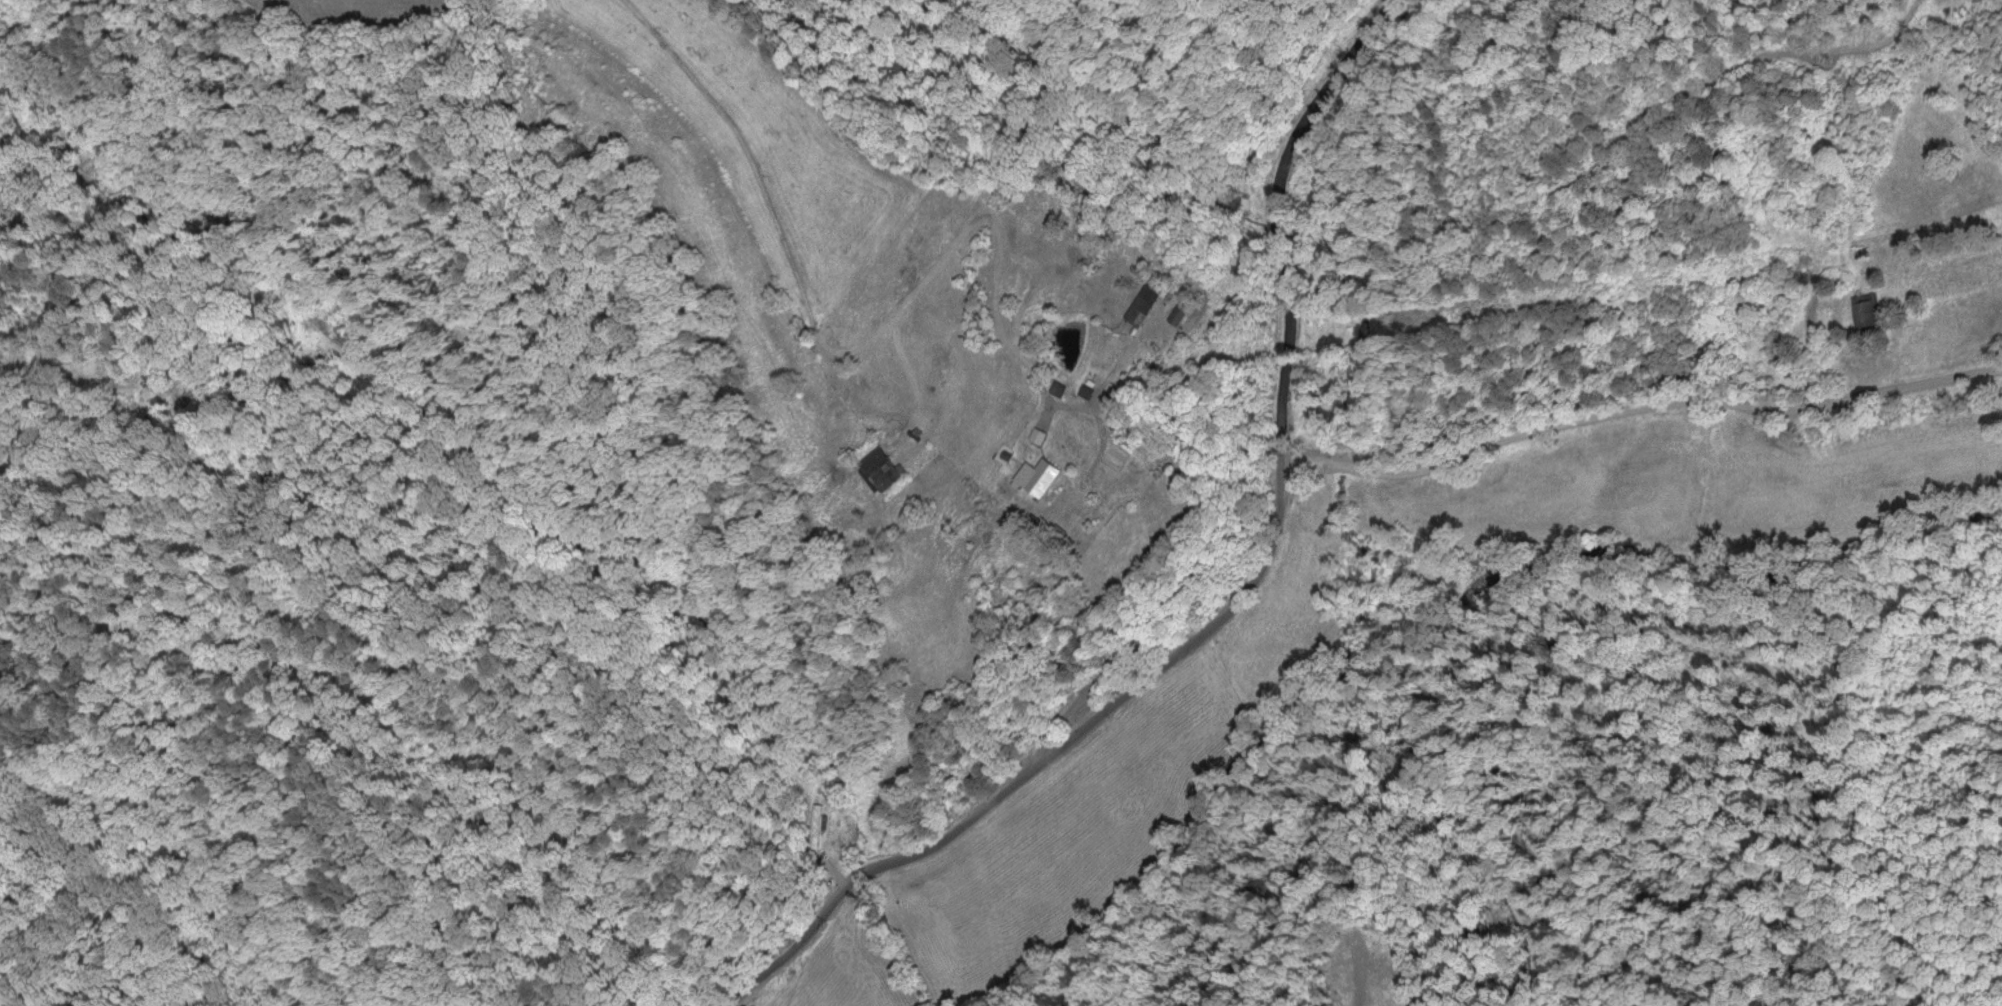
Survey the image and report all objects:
road: (1281, 212)
building: (1144, 294)
building: (1178, 309)
building: (1864, 310)
building: (1054, 387)
building: (1109, 397)
road: (1639, 409)
building: (1033, 435)
building: (875, 467)
building: (1037, 476)
road: (1183, 583)
road: (1039, 757)
building: (812, 825)

